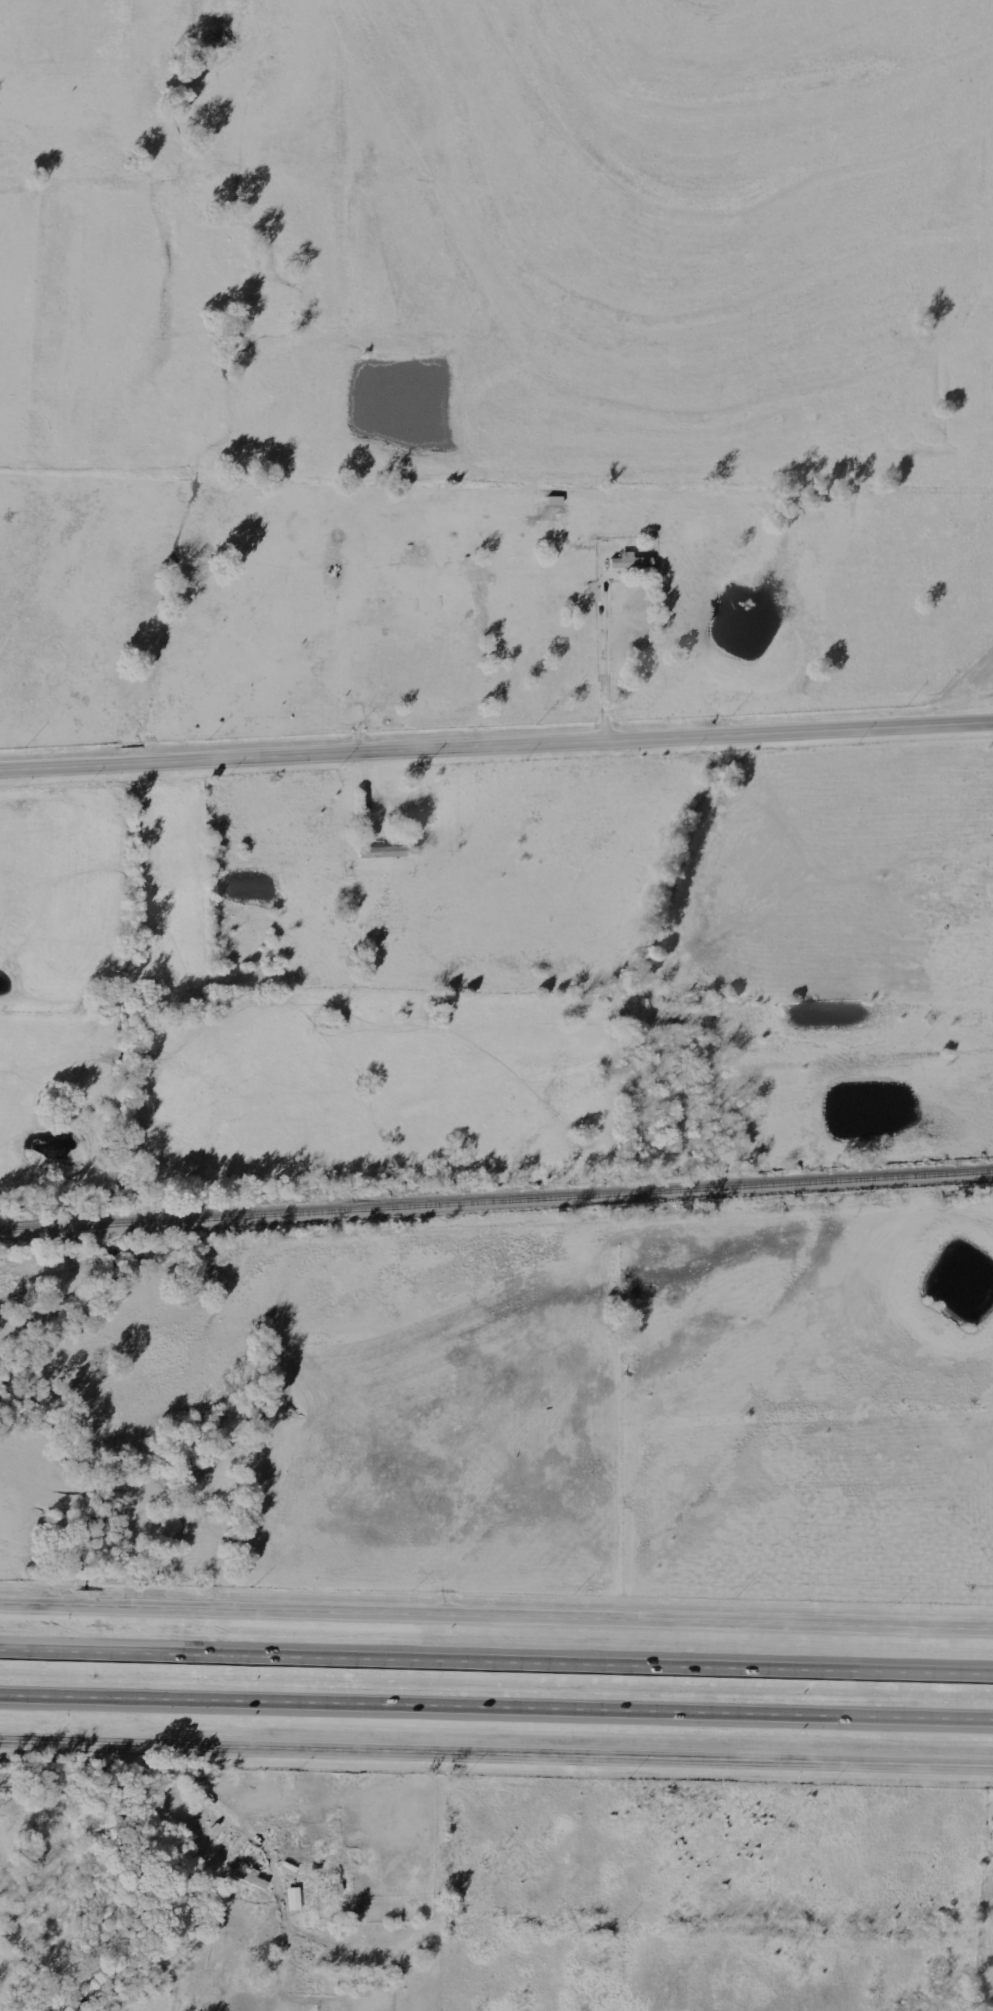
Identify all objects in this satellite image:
building: (626, 566)
road: (604, 660)
road: (496, 747)
building: (377, 855)
railway: (496, 1206)
road: (496, 1613)
road: (496, 1664)
road: (496, 1710)
road: (496, 1757)
road: (207, 1794)
building: (240, 1876)
building: (290, 1901)

